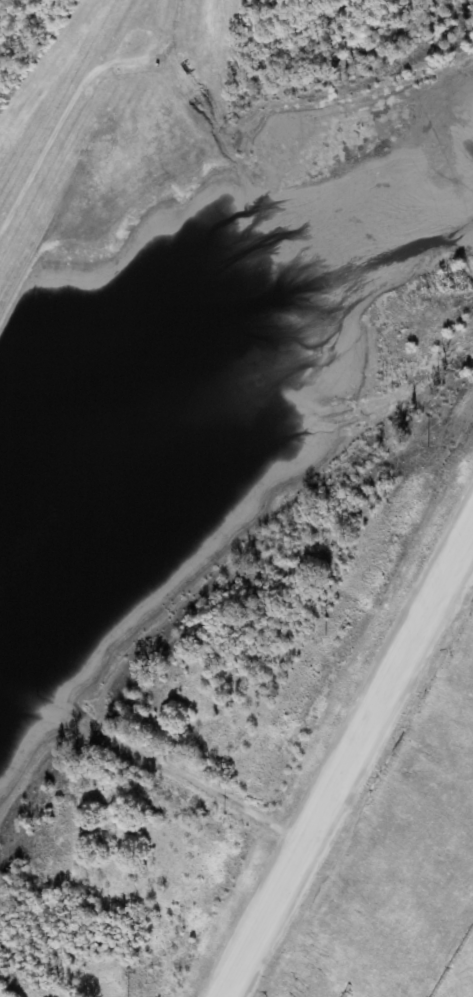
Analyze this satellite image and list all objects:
road: (59, 136)
road: (391, 686)
road: (268, 918)

